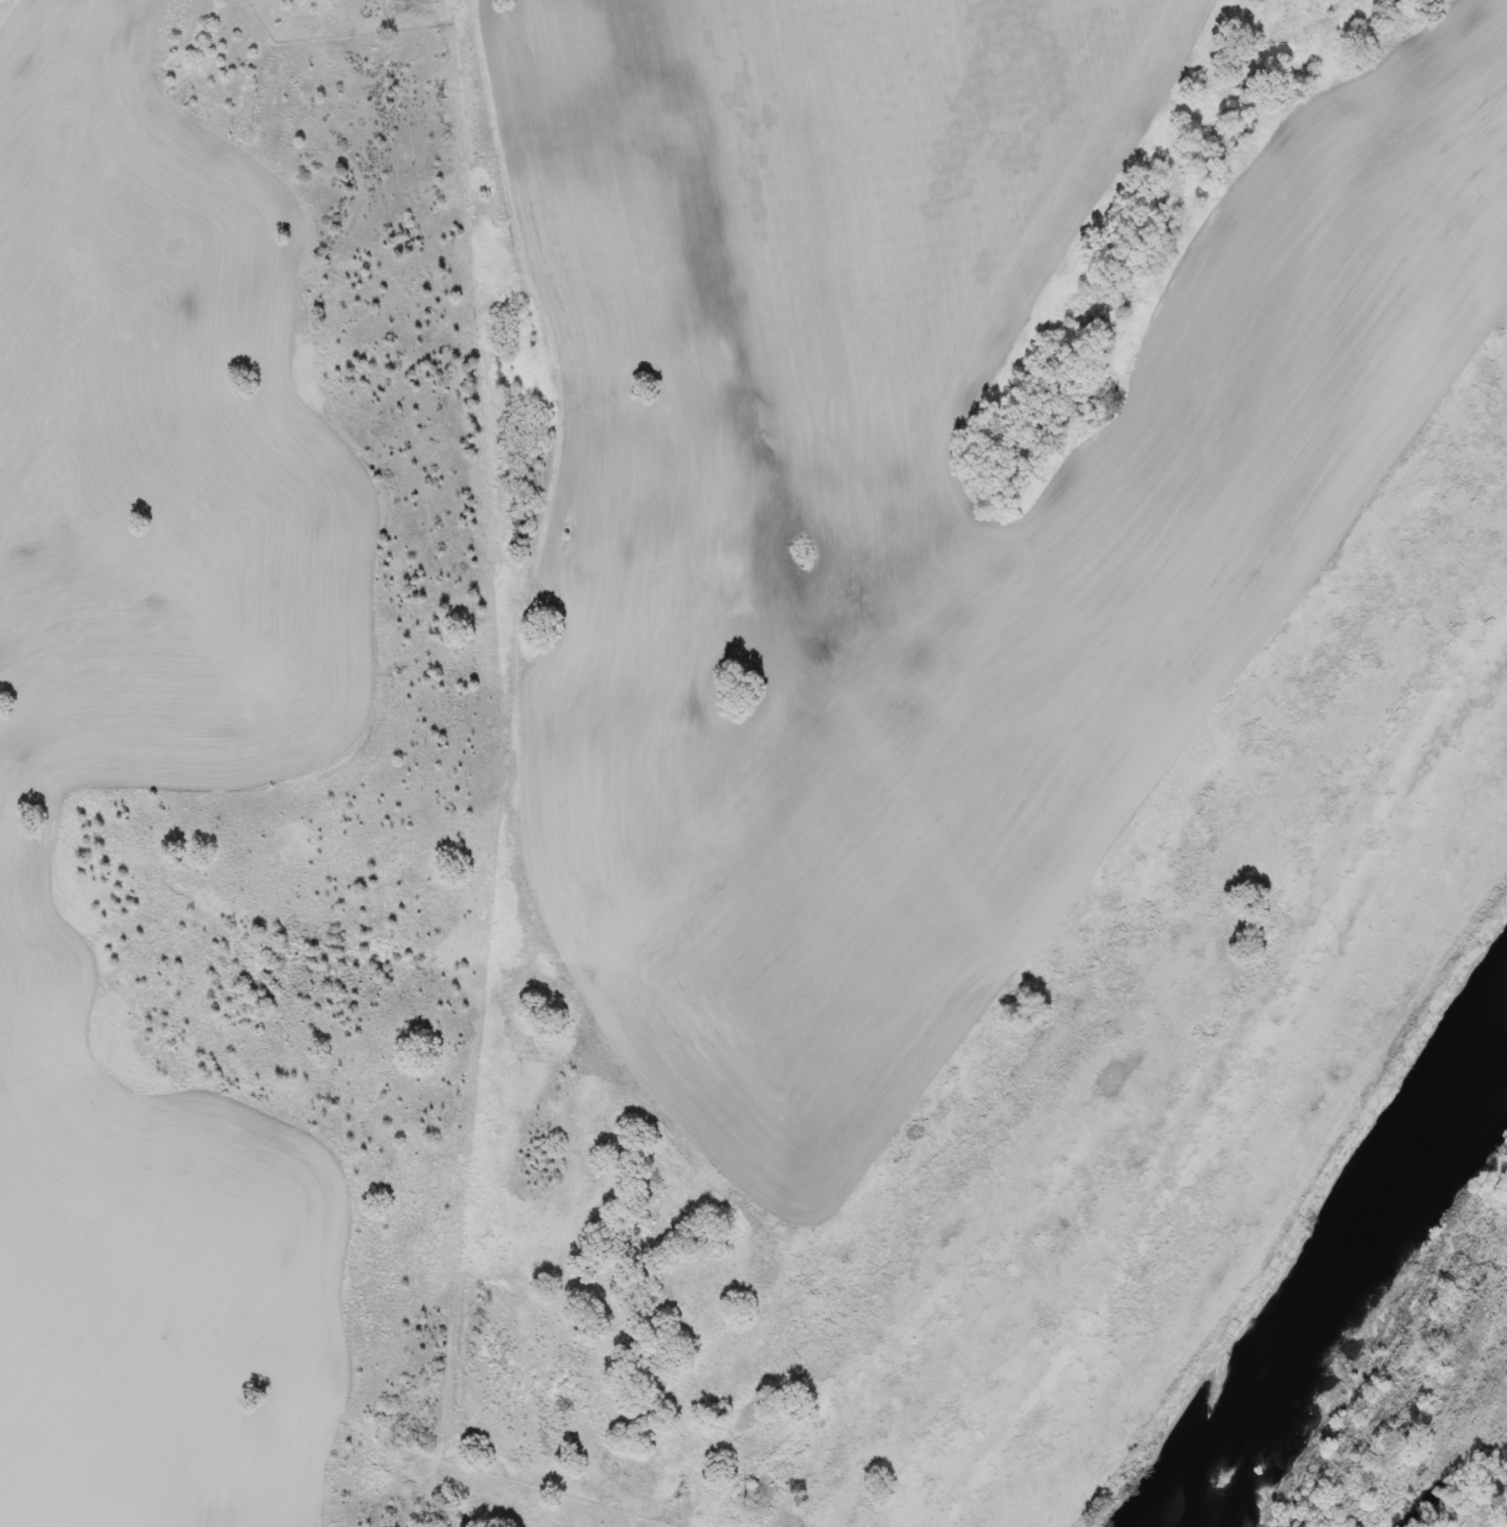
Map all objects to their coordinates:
river: (1333, 1275)

